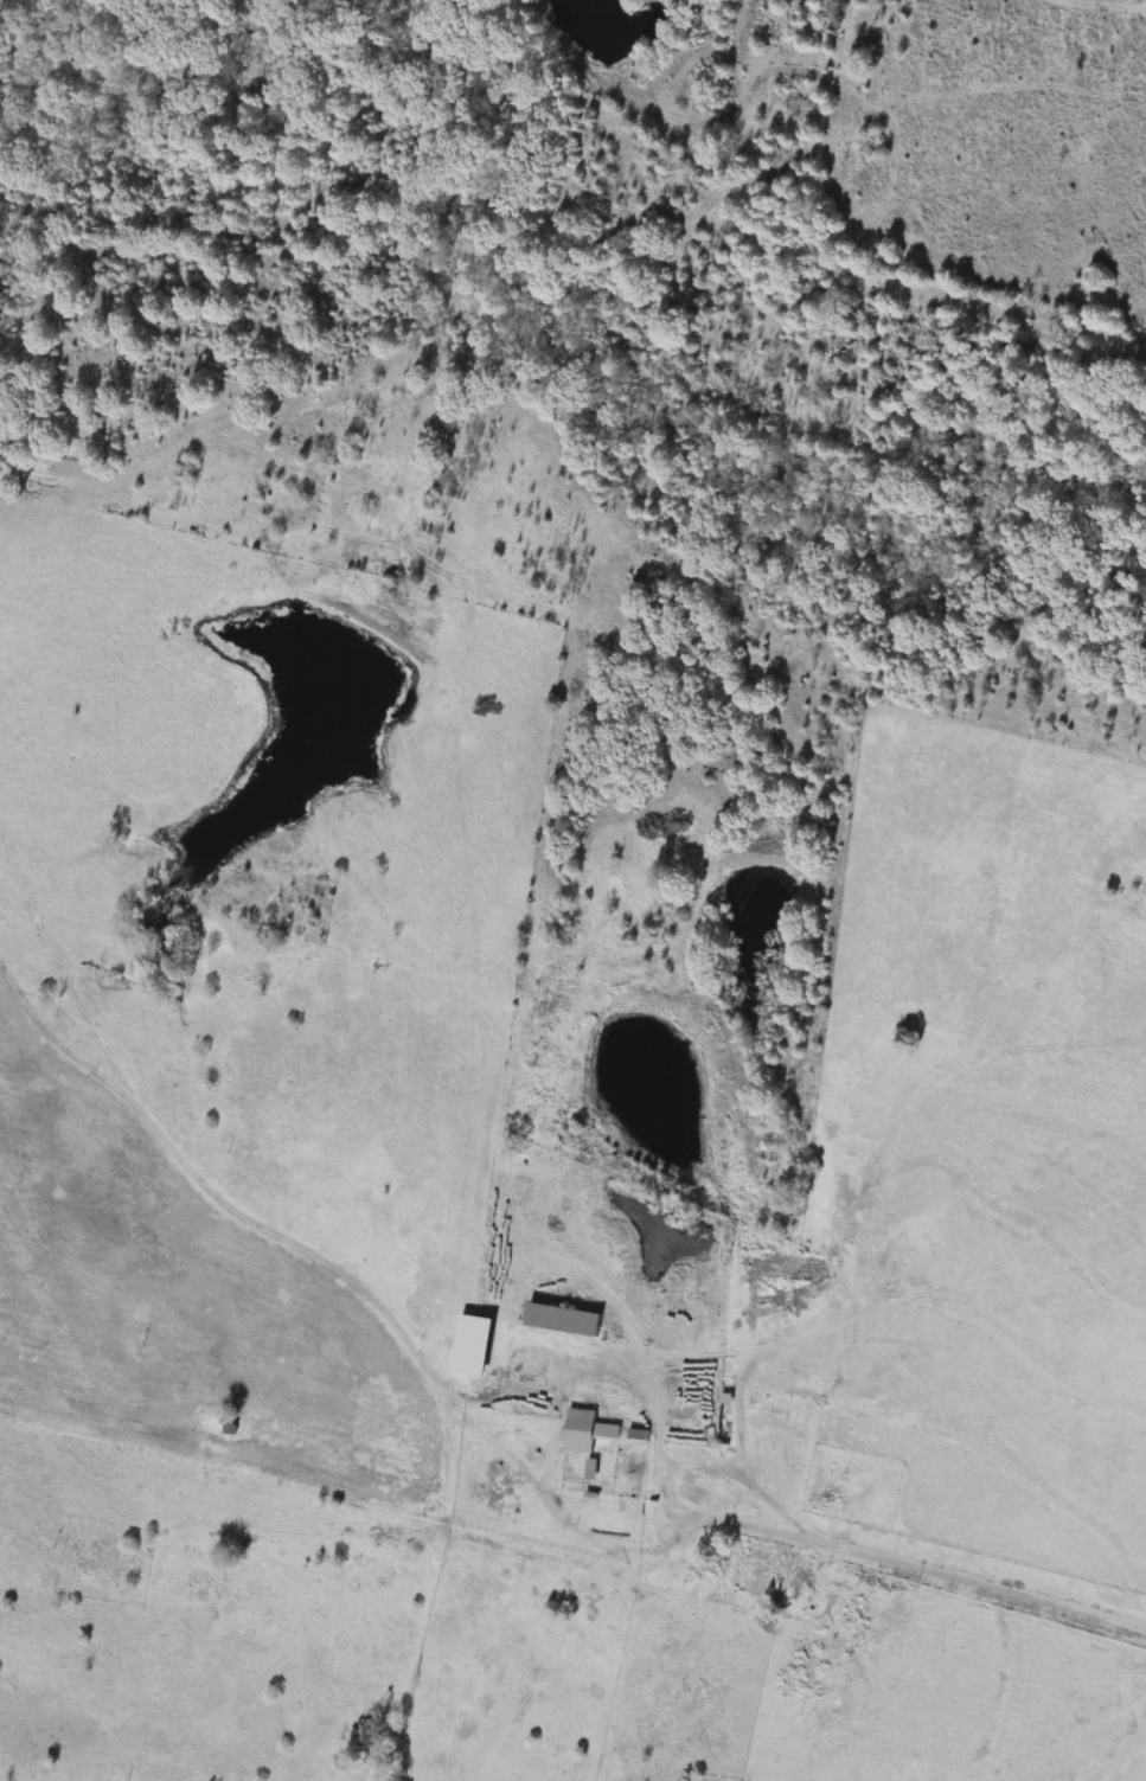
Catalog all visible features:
building: (566, 1320)
building: (725, 1418)
building: (588, 1431)
building: (640, 1436)
road: (662, 1469)
road: (981, 1582)

